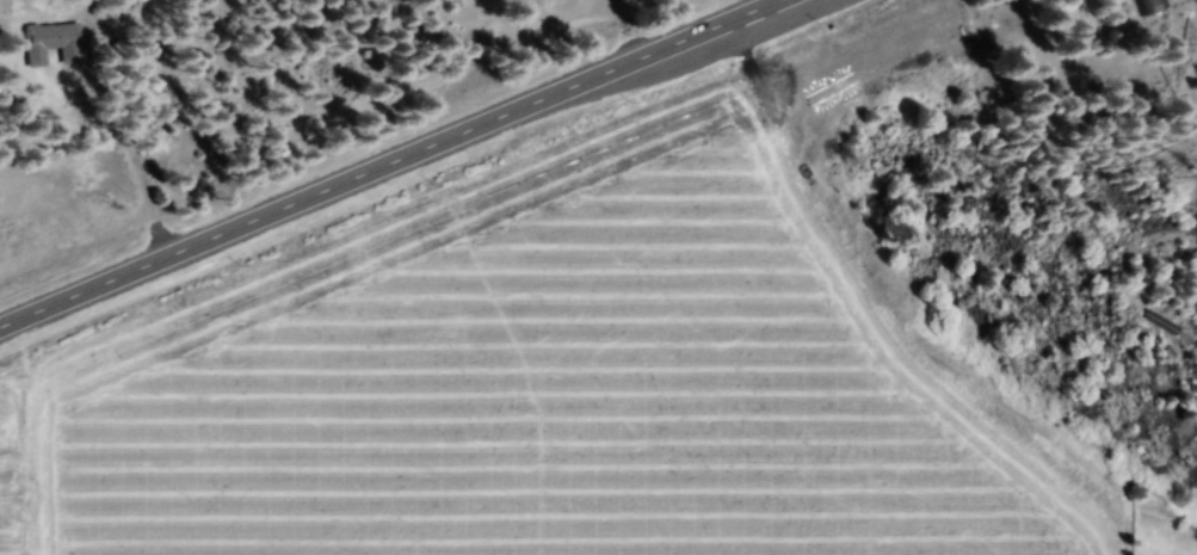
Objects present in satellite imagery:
road: (397, 168)

